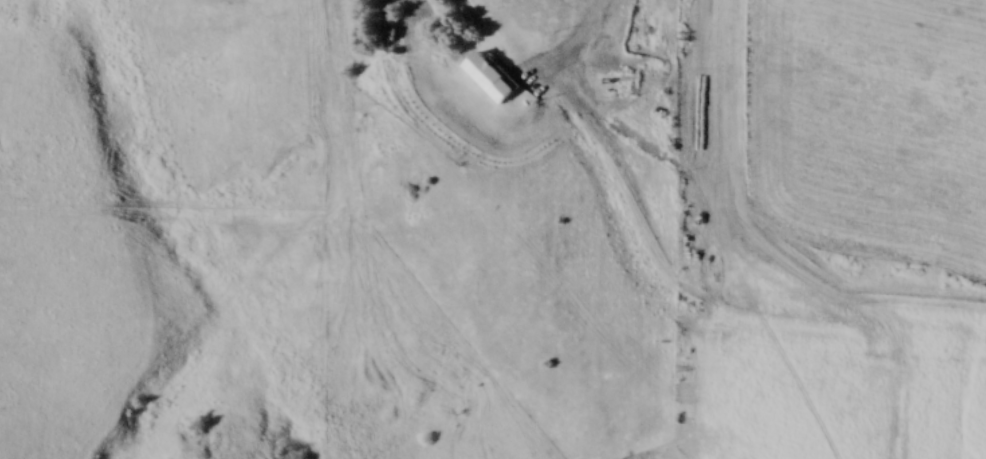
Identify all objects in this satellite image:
road: (590, 15)
building: (531, 18)
building: (608, 86)

